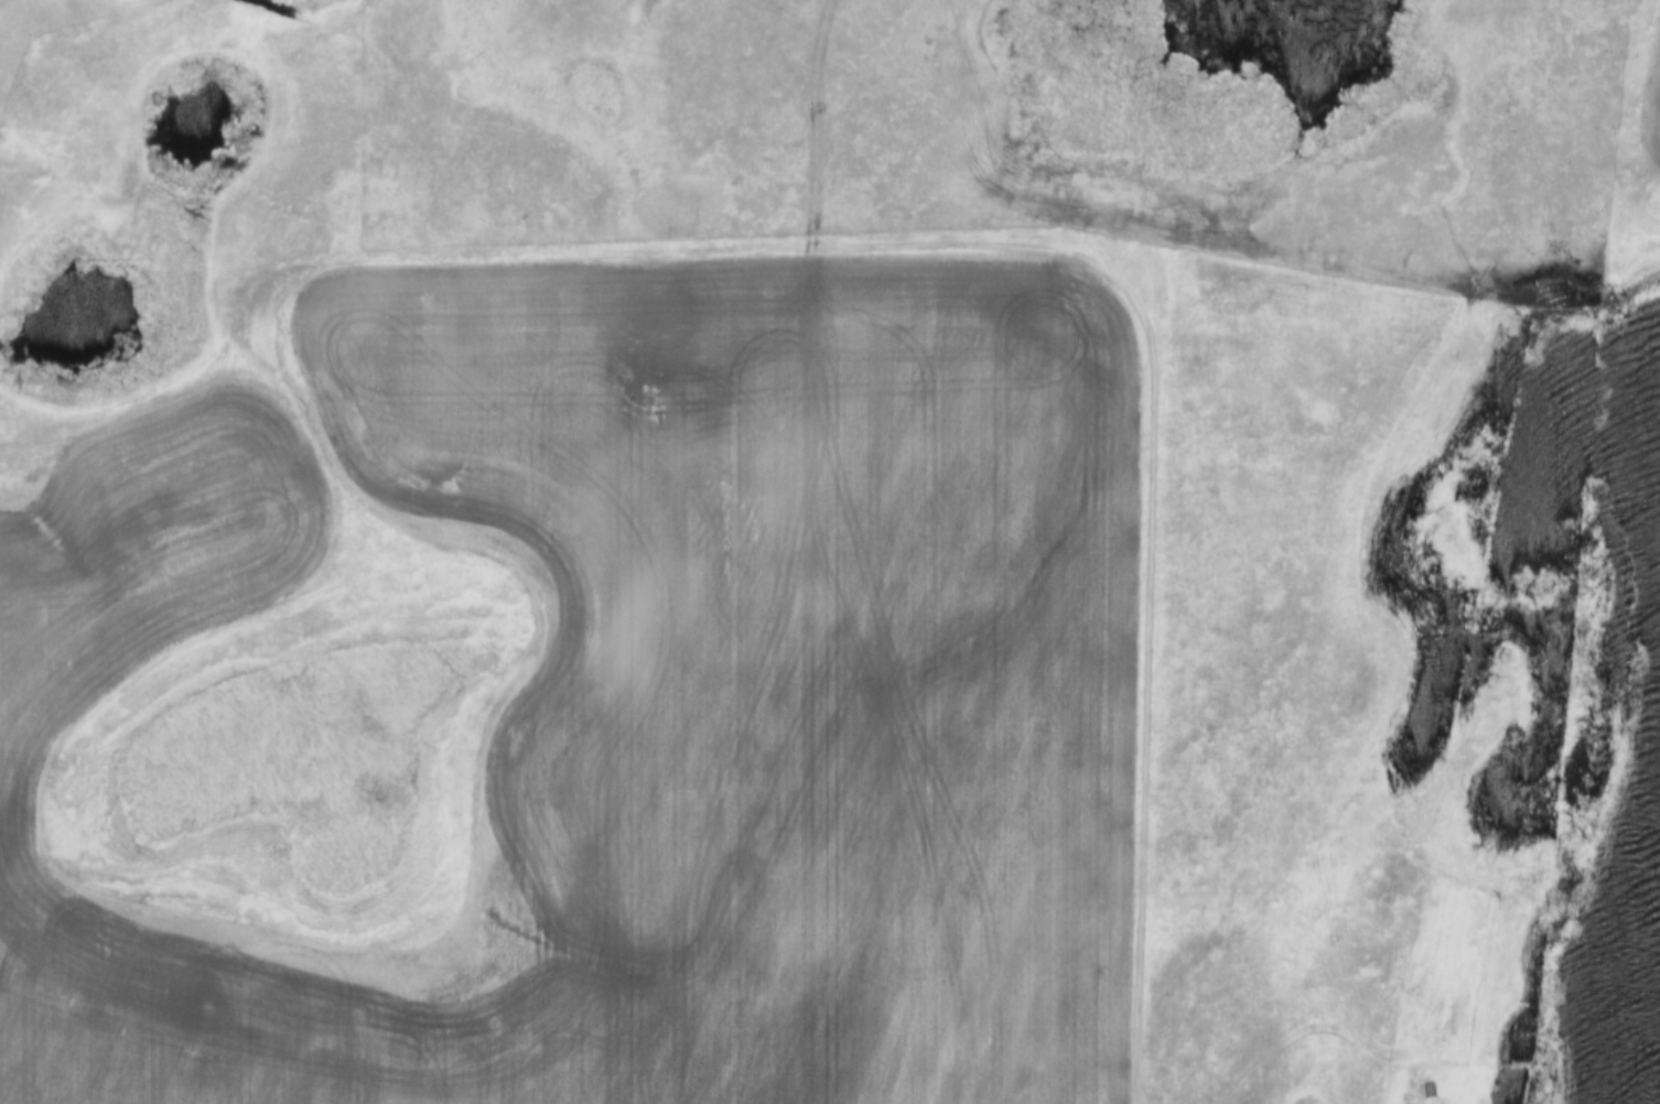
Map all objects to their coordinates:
road: (1606, 623)

